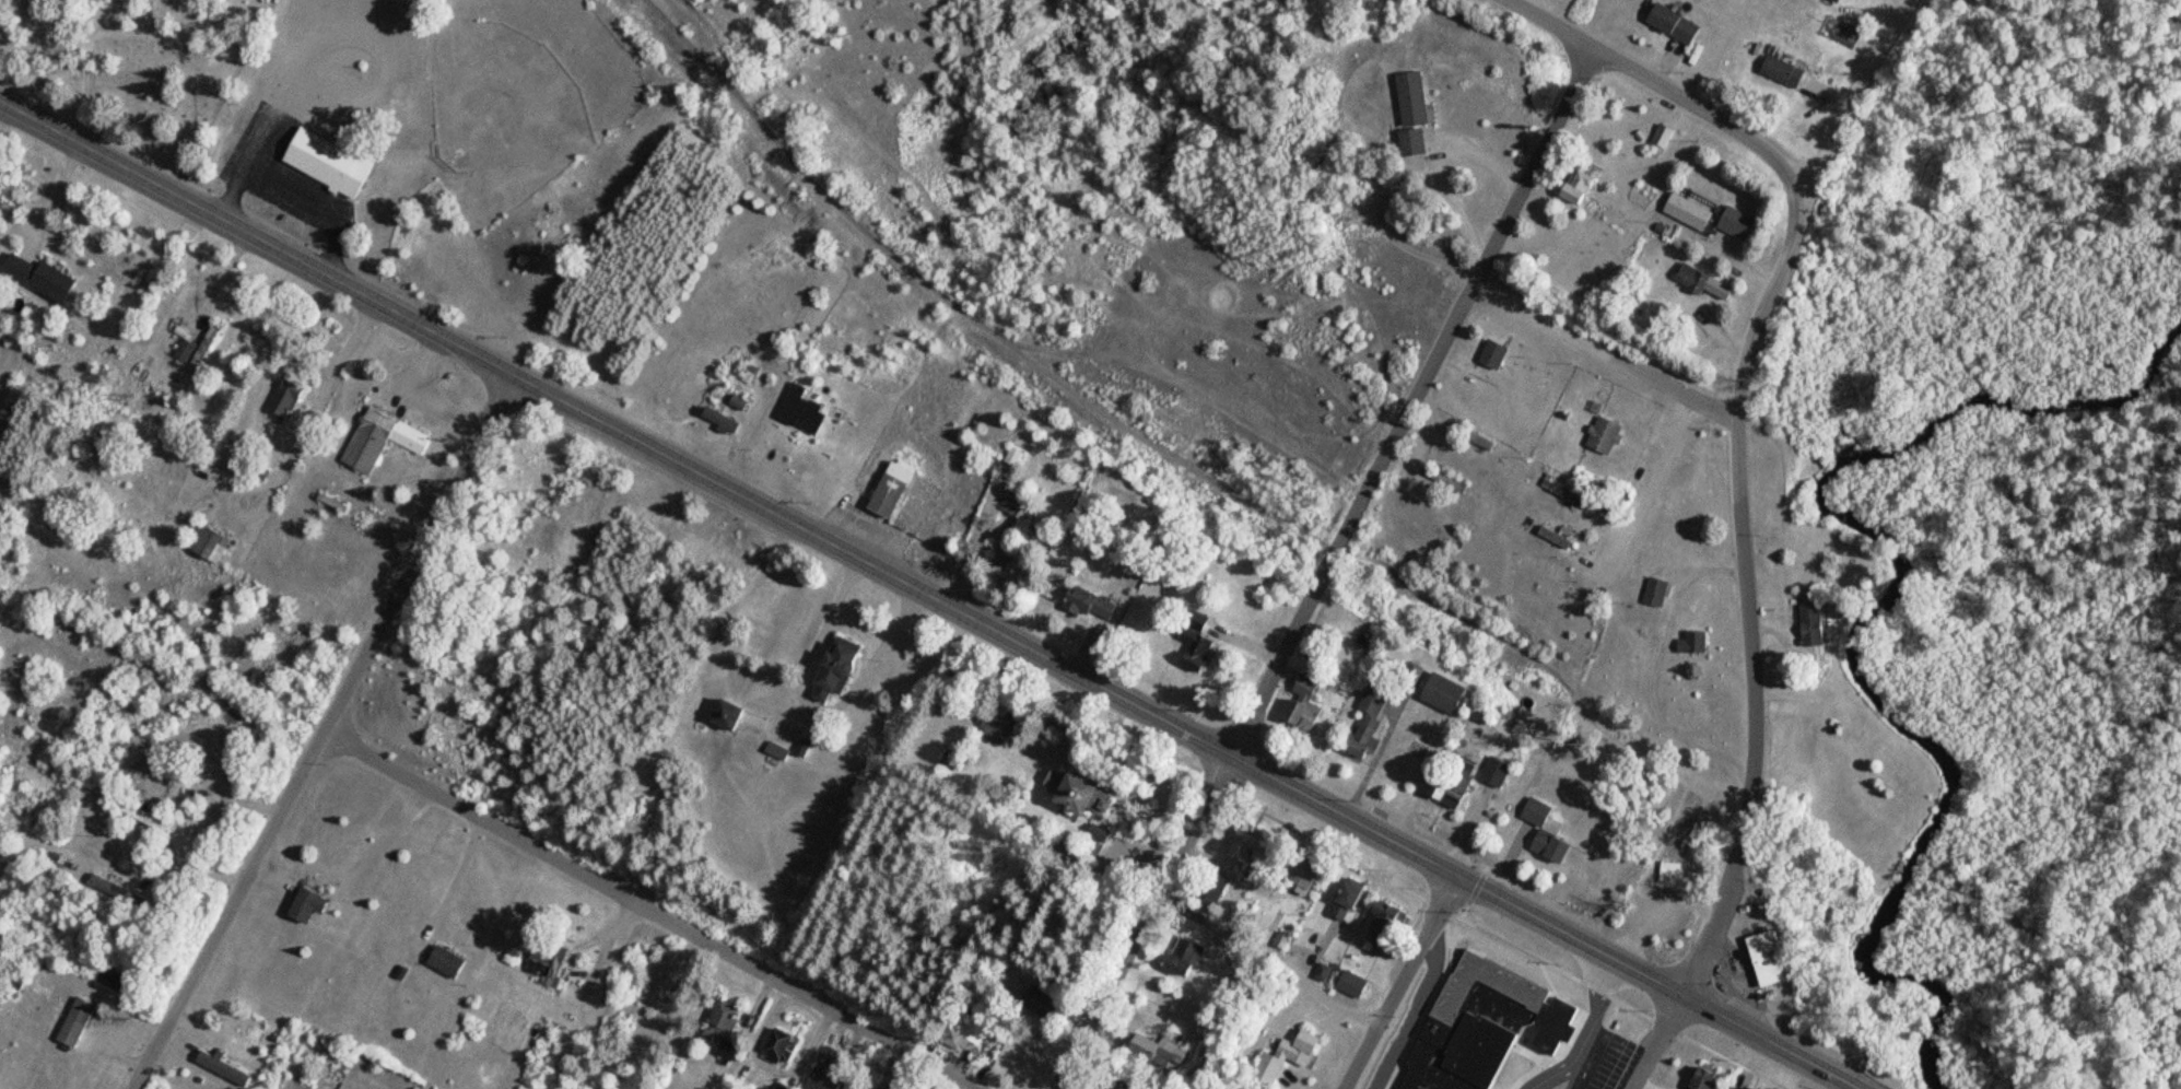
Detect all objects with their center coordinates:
building: (1840, 0)
road: (1881, 21)
road: (1902, 21)
building: (1675, 23)
park: (132, 61)
building: (1783, 72)
road: (1654, 90)
park: (502, 97)
building: (1412, 99)
building: (1663, 136)
building: (1414, 141)
building: (331, 162)
building: (1581, 187)
building: (1689, 211)
building: (1738, 223)
building: (43, 276)
building: (1703, 282)
road: (959, 311)
building: (185, 350)
road: (1604, 350)
building: (1496, 354)
building: (286, 399)
road: (1408, 405)
building: (804, 411)
building: (724, 421)
building: (1605, 435)
building: (380, 440)
building: (1481, 441)
building: (1446, 480)
building: (894, 489)
building: (1572, 495)
road: (1738, 506)
building: (208, 542)
building: (1019, 555)
building: (1658, 592)
road: (929, 597)
building: (1092, 605)
river: (1860, 612)
building: (1816, 625)
building: (1695, 642)
building: (1198, 645)
building: (840, 669)
building: (1446, 693)
building: (1305, 704)
building: (729, 715)
building: (1370, 723)
building: (998, 726)
road: (325, 734)
building: (1499, 772)
building: (1454, 782)
building: (1081, 794)
building: (1538, 812)
building: (146, 818)
building: (1253, 847)
building: (1552, 847)
building: (1674, 877)
building: (1309, 879)
building: (112, 888)
building: (1349, 902)
building: (309, 905)
road: (652, 911)
road: (1140, 922)
building: (1389, 926)
road: (1744, 955)
building: (1771, 959)
building: (446, 962)
building: (544, 967)
building: (1325, 973)
road: (1400, 982)
building: (1356, 985)
building: (1043, 1006)
building: (77, 1022)
building: (1476, 1026)
building: (725, 1028)
building: (959, 1033)
road: (1654, 1041)
building: (782, 1047)
building: (1160, 1051)
building: (1289, 1058)
building: (225, 1069)
building: (1704, 1078)
building: (822, 1081)
building: (875, 1081)
building: (1110, 1086)
building: (1733, 1088)

